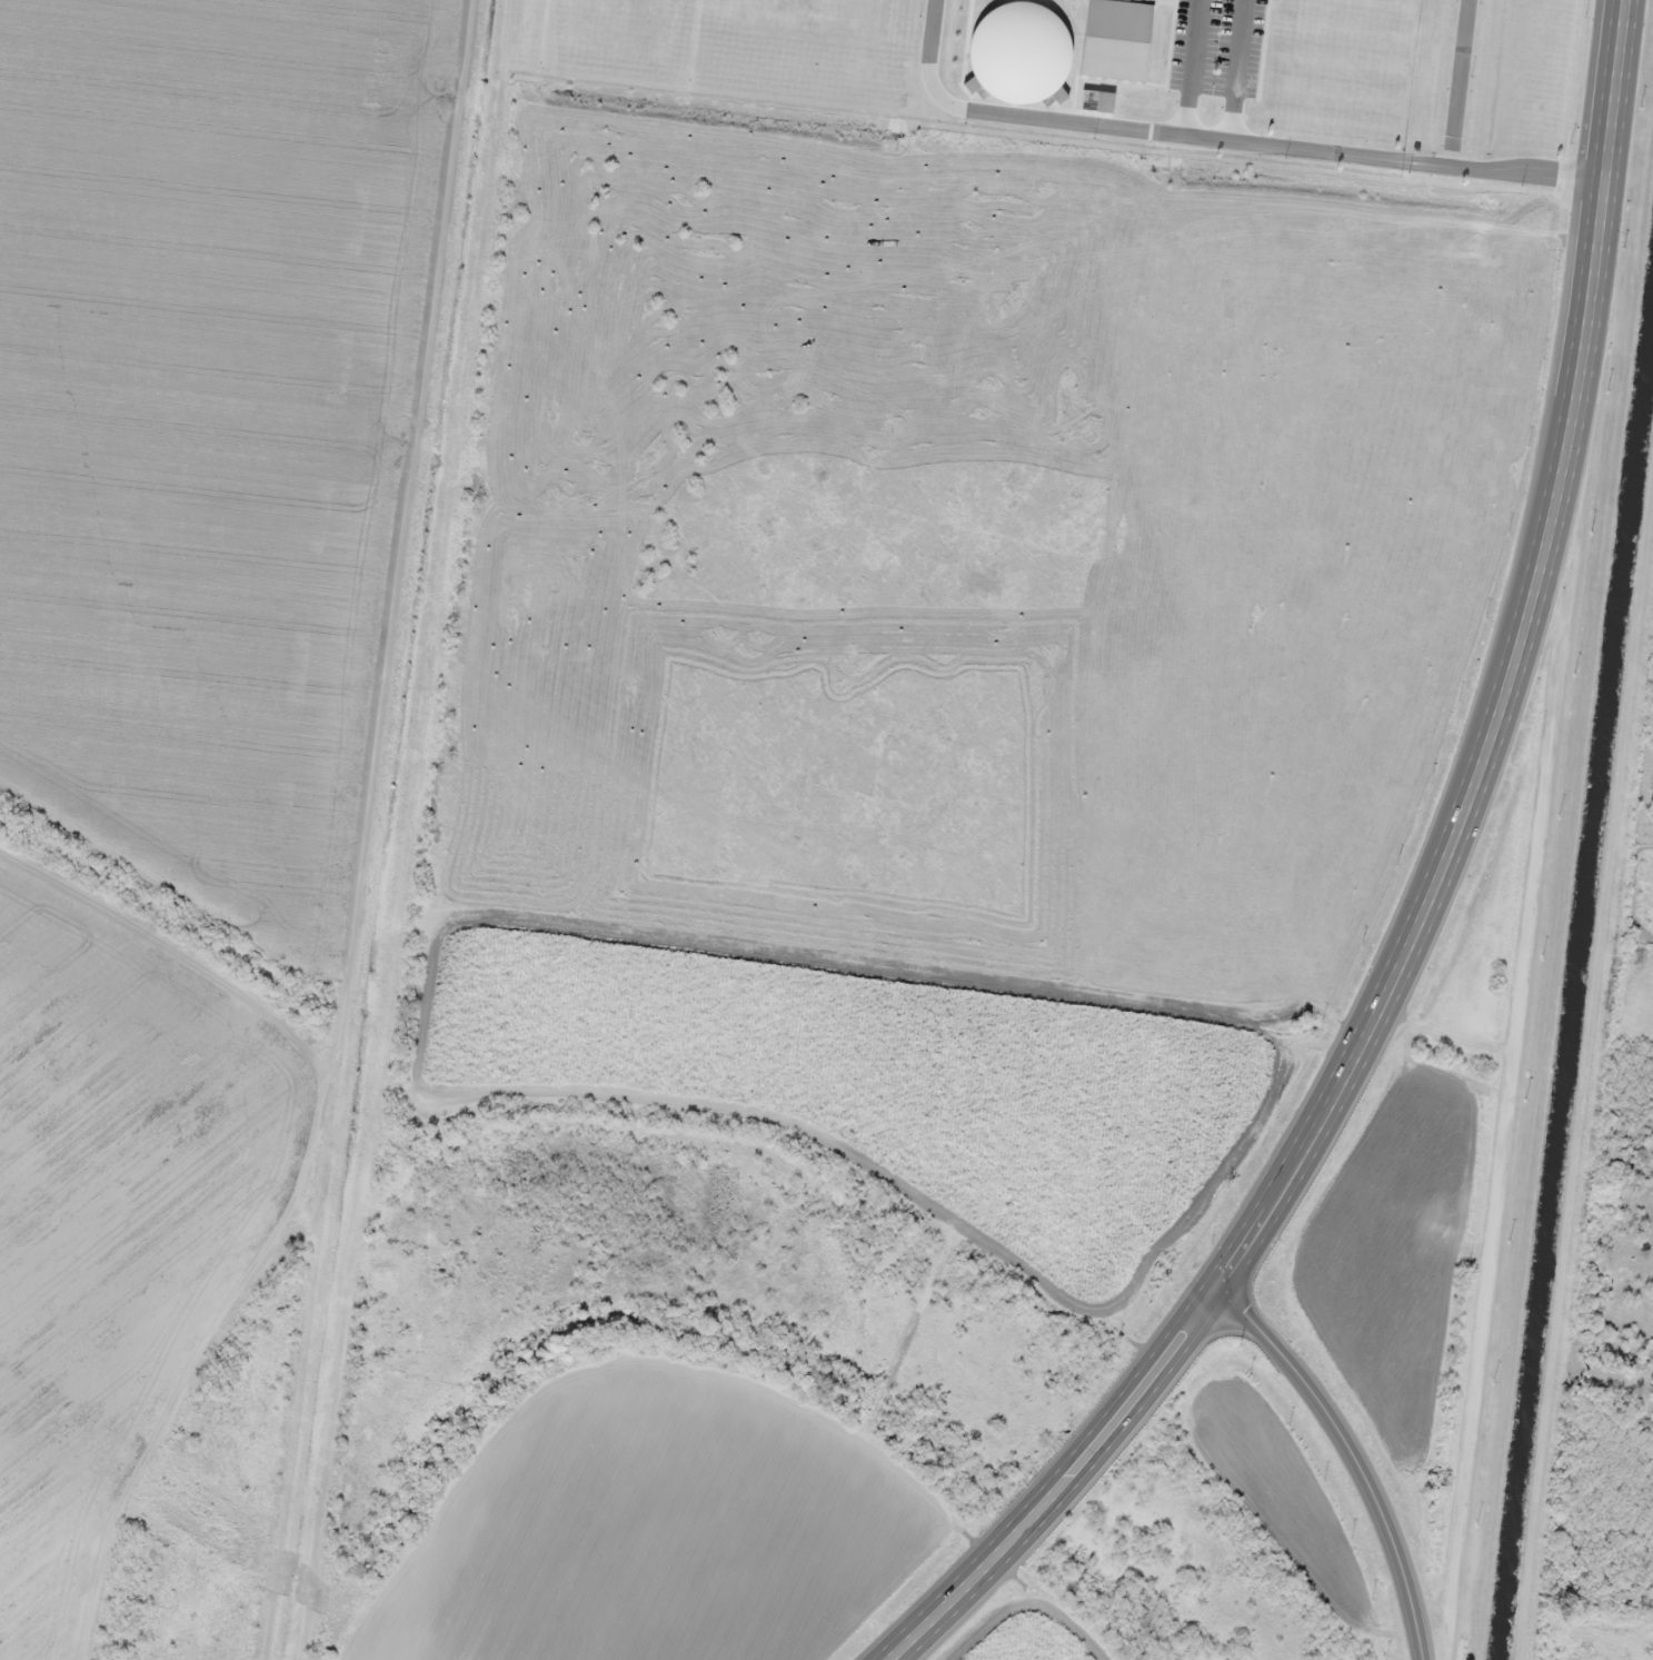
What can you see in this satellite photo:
building: (1121, 39)
road: (1186, 67)
road: (1239, 70)
road: (1458, 82)
road: (1232, 140)
road: (1418, 902)
road: (1350, 1453)

